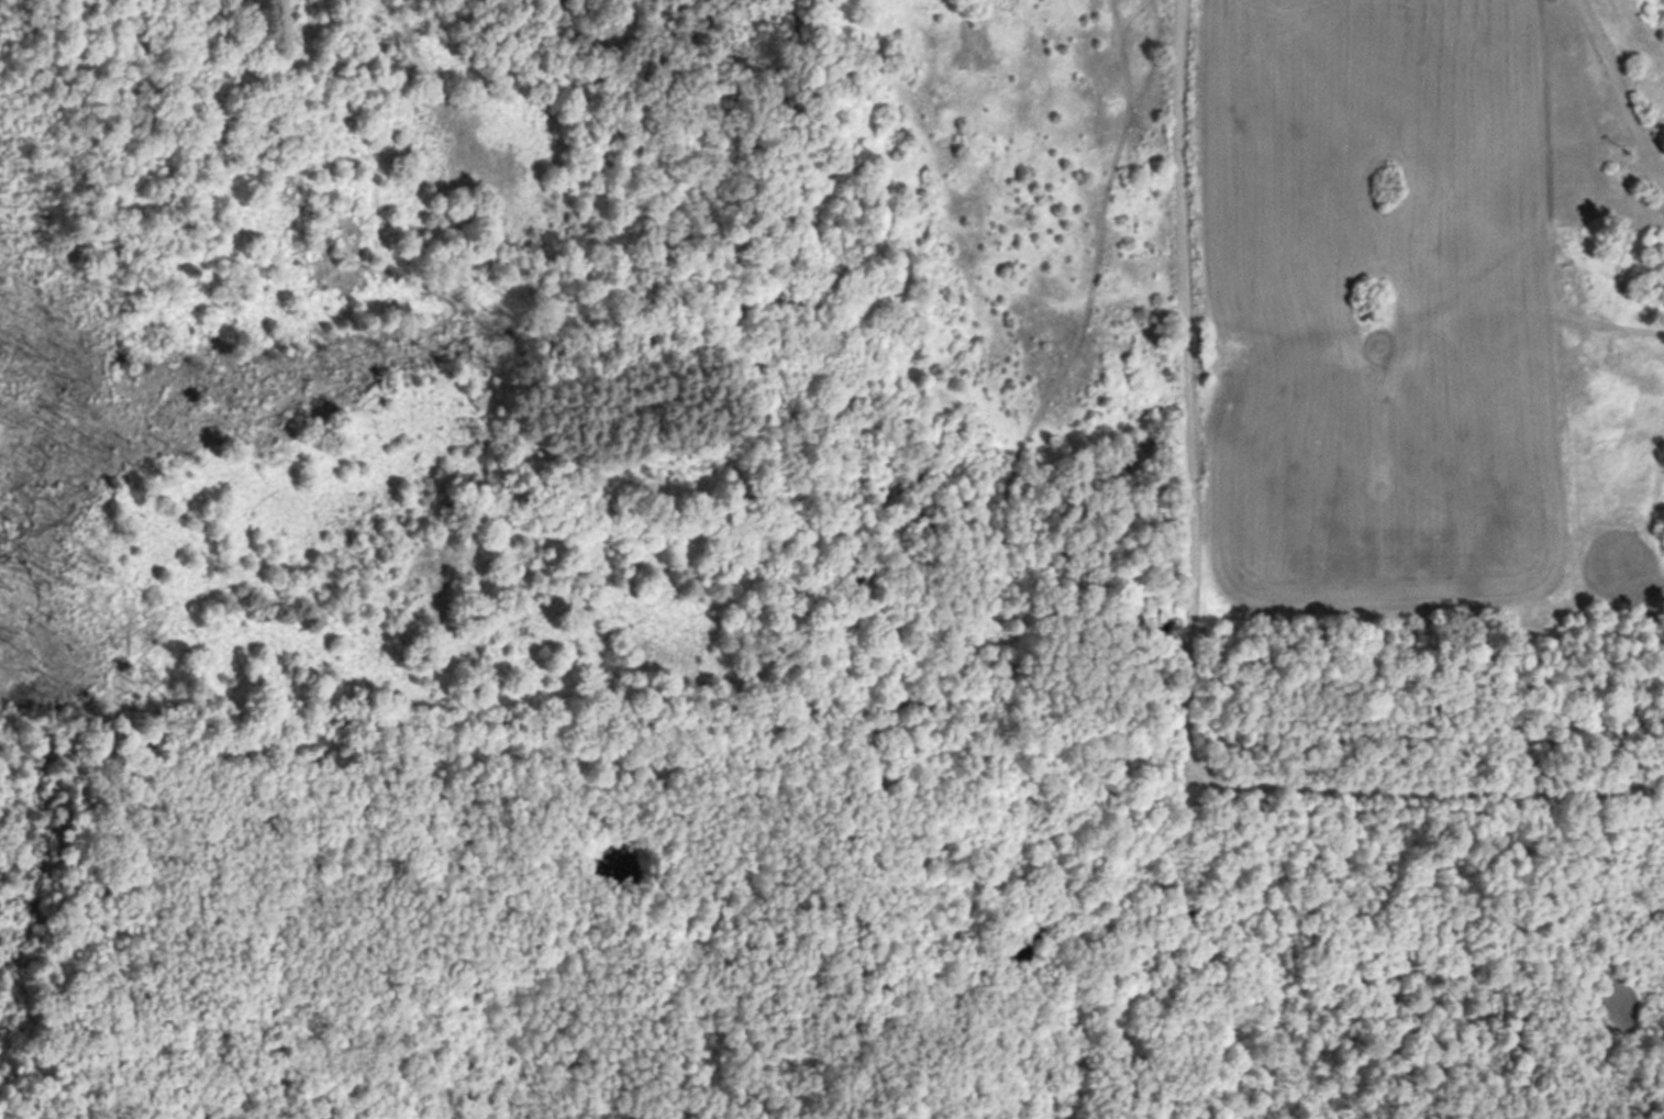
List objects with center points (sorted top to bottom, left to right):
building: (1660, 136)

